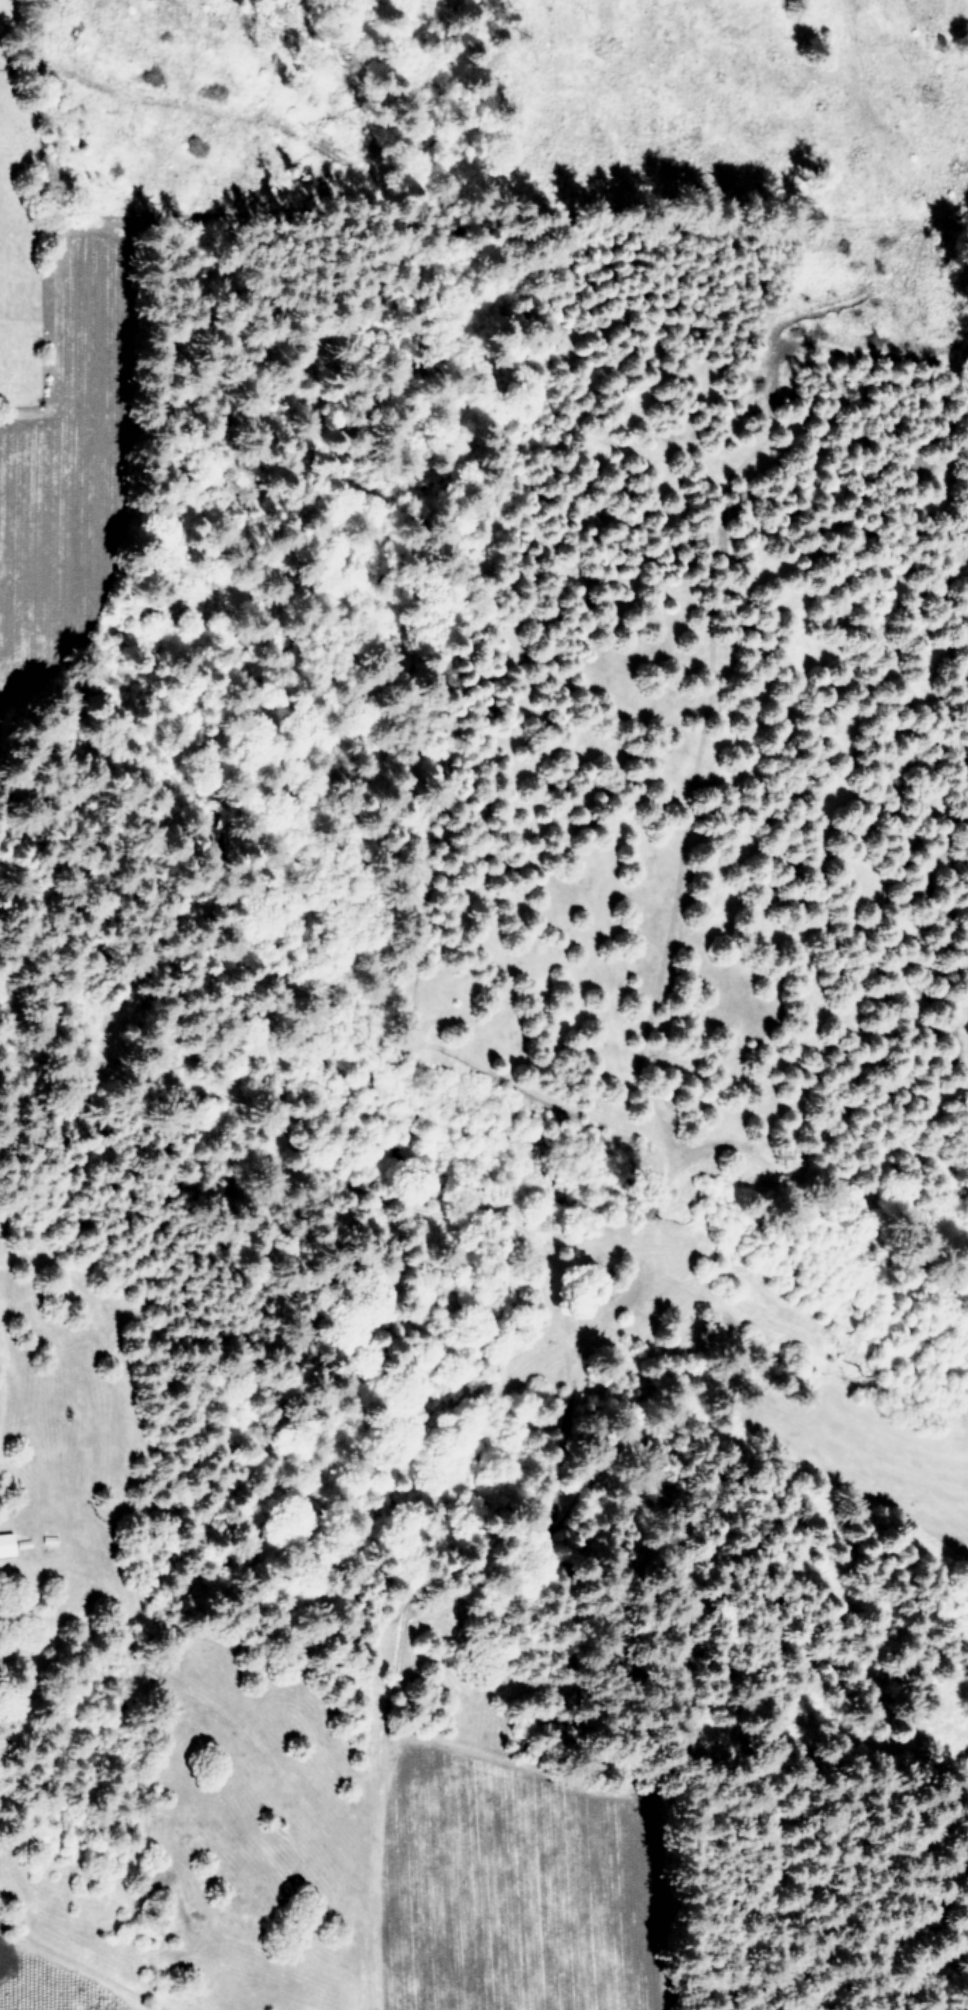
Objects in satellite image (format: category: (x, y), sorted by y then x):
crop: (958, 552)
building: (5, 1544)

